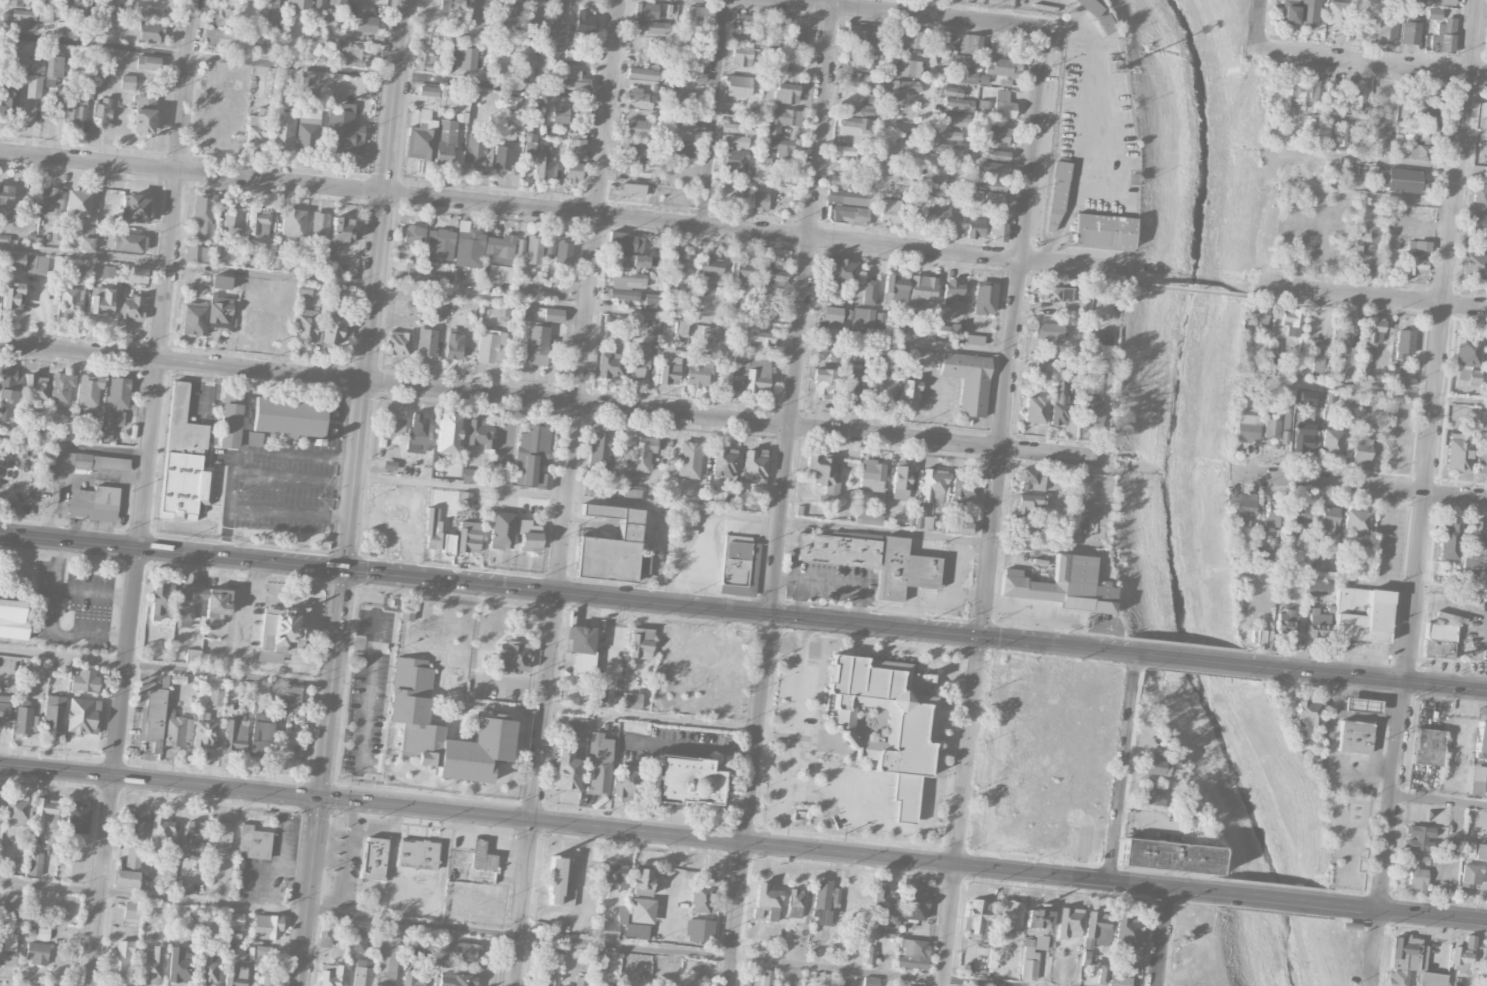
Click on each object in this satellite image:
building: (226, 0)
park: (1233, 0)
building: (15, 2)
building: (337, 2)
building: (1292, 2)
building: (1444, 2)
building: (318, 3)
road: (832, 3)
building: (47, 4)
building: (299, 4)
building: (435, 7)
building: (1089, 7)
building: (646, 10)
building: (505, 11)
building: (533, 11)
building: (153, 13)
building: (268, 13)
building: (329, 13)
building: (1309, 13)
road: (907, 14)
building: (1336, 14)
building: (1433, 14)
building: (222, 15)
building: (698, 15)
building: (1290, 15)
building: (45, 16)
building: (474, 16)
building: (83, 18)
building: (23, 19)
building: (740, 20)
building: (366, 25)
road: (1261, 26)
building: (651, 27)
building: (1390, 28)
building: (555, 29)
building: (582, 30)
building: (151, 32)
building: (427, 33)
building: (785, 33)
building: (1409, 33)
building: (861, 34)
building: (1442, 37)
road: (1471, 37)
building: (740, 38)
building: (910, 38)
building: (284, 39)
building: (229, 40)
building: (657, 43)
building: (970, 44)
building: (1004, 47)
building: (18, 52)
building: (354, 54)
building: (571, 55)
building: (451, 56)
building: (743, 56)
building: (468, 58)
building: (962, 60)
building: (148, 62)
building: (425, 62)
building: (695, 63)
road: (1372, 63)
building: (858, 65)
building: (37, 66)
road: (304, 66)
building: (527, 66)
building: (53, 67)
building: (1002, 67)
building: (909, 68)
building: (644, 73)
building: (966, 76)
building: (691, 77)
building: (577, 79)
building: (270, 81)
building: (858, 81)
building: (127, 82)
building: (33, 86)
building: (737, 86)
building: (906, 86)
building: (952, 92)
building: (786, 93)
building: (1302, 94)
building: (1423, 95)
building: (683, 98)
building: (639, 99)
building: (7, 101)
building: (455, 103)
building: (508, 104)
building: (958, 104)
building: (984, 105)
building: (1003, 105)
building: (856, 110)
building: (76, 111)
building: (561, 112)
building: (102, 113)
road: (714, 113)
building: (1425, 113)
building: (144, 114)
building: (1483, 116)
building: (955, 118)
building: (780, 119)
building: (857, 126)
building: (257, 127)
building: (423, 128)
building: (637, 128)
building: (735, 128)
building: (282, 129)
building: (531, 129)
building: (1308, 130)
road: (1142, 131)
building: (1324, 131)
building: (1415, 131)
building: (343, 133)
road: (1095, 133)
road: (927, 134)
building: (948, 134)
building: (1341, 134)
building: (995, 136)
building: (891, 140)
building: (734, 141)
building: (447, 144)
road: (1033, 145)
building: (678, 147)
building: (780, 147)
building: (948, 149)
building: (844, 150)
building: (477, 151)
building: (1422, 152)
building: (995, 154)
building: (502, 157)
building: (574, 157)
building: (636, 158)
building: (733, 160)
building: (765, 160)
road: (1403, 163)
building: (544, 164)
building: (939, 174)
building: (838, 180)
building: (1403, 180)
building: (996, 185)
building: (941, 191)
building: (1480, 194)
building: (847, 196)
building: (1055, 196)
building: (6, 201)
building: (50, 201)
building: (759, 201)
building: (78, 202)
road: (1408, 203)
building: (134, 208)
building: (889, 211)
road: (562, 212)
building: (845, 212)
building: (204, 214)
building: (936, 214)
building: (232, 220)
building: (292, 223)
building: (258, 224)
building: (1478, 224)
building: (319, 228)
building: (975, 228)
building: (1102, 230)
building: (999, 231)
building: (1374, 232)
building: (414, 234)
building: (340, 236)
building: (622, 241)
building: (129, 242)
building: (86, 243)
building: (441, 243)
building: (469, 248)
building: (549, 249)
building: (534, 250)
building: (564, 253)
building: (196, 254)
building: (1362, 255)
building: (498, 256)
building: (1415, 256)
building: (677, 258)
building: (277, 260)
building: (635, 261)
building: (28, 262)
building: (1475, 265)
building: (710, 267)
building: (107, 271)
building: (741, 273)
building: (839, 273)
building: (139, 274)
road: (168, 274)
building: (770, 274)
building: (423, 276)
road: (1129, 277)
building: (627, 280)
building: (221, 282)
road: (376, 284)
building: (896, 288)
road: (1189, 289)
building: (921, 290)
building: (953, 290)
road: (1251, 291)
building: (869, 292)
building: (12, 294)
building: (622, 294)
building: (1056, 294)
road: (1350, 295)
road: (589, 296)
building: (71, 299)
road: (506, 299)
building: (101, 301)
building: (652, 301)
road: (1465, 306)
building: (131, 309)
building: (439, 310)
building: (498, 310)
building: (220, 311)
road: (802, 311)
building: (1256, 314)
building: (553, 315)
building: (850, 317)
building: (194, 318)
building: (1292, 319)
building: (880, 322)
building: (652, 326)
building: (681, 327)
building: (306, 328)
building: (1374, 329)
building: (332, 330)
building: (1051, 332)
building: (712, 333)
building: (760, 340)
building: (1275, 341)
building: (426, 342)
building: (1404, 343)
building: (397, 344)
building: (454, 345)
building: (536, 345)
building: (490, 346)
building: (1097, 347)
building: (1486, 347)
building: (1341, 350)
building: (886, 351)
building: (860, 353)
building: (834, 354)
building: (638, 360)
building: (1468, 360)
building: (1317, 364)
building: (609, 365)
building: (668, 366)
building: (909, 369)
building: (698, 370)
building: (1044, 371)
building: (749, 372)
building: (1072, 373)
road: (1435, 378)
building: (823, 381)
building: (968, 381)
building: (850, 382)
building: (10, 385)
building: (1091, 385)
building: (36, 386)
building: (61, 387)
building: (883, 388)
building: (908, 393)
building: (88, 394)
road: (1394, 395)
building: (1305, 397)
road: (553, 401)
building: (115, 404)
building: (1059, 404)
building: (1036, 410)
building: (1091, 413)
building: (289, 417)
building: (235, 426)
building: (391, 426)
building: (1248, 428)
building: (92, 432)
building: (417, 433)
building: (447, 433)
building: (479, 433)
building: (1273, 433)
building: (1302, 437)
building: (1332, 441)
road: (74, 445)
road: (1003, 448)
building: (1360, 448)
building: (599, 450)
building: (1458, 451)
building: (641, 452)
building: (1481, 456)
building: (532, 457)
building: (689, 459)
building: (87, 461)
building: (184, 461)
building: (724, 461)
building: (754, 465)
building: (823, 471)
building: (468, 475)
building: (872, 476)
road: (232, 477)
road: (294, 477)
building: (1032, 479)
building: (901, 482)
building: (933, 485)
building: (963, 485)
road: (1363, 487)
building: (631, 494)
building: (465, 498)
building: (1029, 503)
building: (94, 504)
building: (1245, 508)
building: (1273, 513)
road: (730, 515)
building: (868, 518)
building: (1298, 518)
building: (1328, 521)
building: (1356, 521)
building: (925, 523)
building: (1028, 526)
building: (957, 527)
building: (501, 530)
building: (433, 532)
building: (469, 536)
building: (528, 536)
building: (1448, 540)
building: (607, 542)
building: (448, 543)
building: (838, 549)
road: (1387, 549)
building: (1475, 551)
road: (172, 552)
building: (1257, 556)
building: (648, 562)
building: (1316, 562)
building: (740, 564)
traffic signals: (345, 569)
building: (904, 570)
road: (385, 573)
road: (847, 585)
building: (1063, 585)
road: (800, 586)
building: (1316, 589)
road: (1451, 589)
road: (94, 592)
building: (162, 601)
building: (217, 602)
building: (189, 604)
road: (704, 607)
building: (1486, 608)
building: (406, 613)
building: (1361, 614)
building: (12, 619)
road: (52, 622)
building: (1286, 623)
building: (1317, 624)
building: (278, 634)
road: (1143, 635)
building: (1439, 639)
road: (1022, 640)
road: (355, 642)
building: (640, 643)
road: (1096, 649)
building: (579, 650)
building: (192, 656)
building: (512, 656)
road: (1195, 659)
road: (165, 668)
building: (84, 679)
building: (178, 679)
road: (1372, 679)
road: (367, 691)
road: (1373, 694)
building: (215, 697)
building: (288, 699)
building: (631, 700)
road: (543, 705)
road: (794, 706)
building: (4, 708)
road: (385, 708)
road: (975, 711)
building: (54, 713)
building: (152, 714)
building: (82, 716)
road: (650, 716)
building: (408, 718)
building: (1304, 719)
building: (23, 721)
building: (884, 722)
building: (576, 727)
road: (758, 729)
building: (175, 730)
building: (204, 730)
building: (261, 734)
building: (1481, 734)
road: (344, 735)
building: (235, 736)
building: (1354, 737)
road: (1379, 737)
road: (691, 744)
building: (1427, 746)
road: (1329, 753)
building: (598, 764)
road: (115, 767)
road: (1121, 767)
building: (1153, 767)
building: (565, 770)
road: (321, 777)
building: (686, 780)
building: (1476, 780)
building: (625, 781)
building: (1152, 795)
road: (1391, 795)
traffic signals: (319, 799)
road: (1439, 801)
building: (16, 810)
building: (44, 812)
building: (78, 817)
road: (878, 825)
building: (134, 826)
building: (161, 828)
road: (607, 828)
building: (220, 837)
building: (1418, 838)
building: (195, 839)
building: (253, 842)
building: (1481, 851)
building: (418, 854)
building: (1170, 856)
building: (482, 857)
building: (373, 858)
building: (35, 864)
building: (129, 869)
building: (1471, 875)
building: (614, 876)
building: (1417, 877)
building: (561, 882)
building: (642, 882)
road: (954, 887)
building: (825, 895)
building: (703, 896)
road: (1274, 898)
building: (766, 901)
road: (521, 903)
building: (794, 903)
building: (915, 905)
building: (13, 907)
building: (131, 910)
building: (642, 910)
road: (1410, 911)
building: (884, 913)
road: (735, 914)
building: (621, 915)
building: (1007, 918)
building: (236, 921)
building: (1038, 921)
building: (1069, 923)
building: (267, 926)
building: (1096, 929)
building: (605, 930)
building: (699, 930)
building: (1125, 932)
building: (43, 933)
road: (511, 933)
building: (327, 934)
road: (1161, 936)
building: (356, 940)
road: (1372, 947)
building: (8, 950)
building: (461, 951)
building: (37, 953)
building: (913, 953)
building: (262, 955)
building: (1032, 956)
building: (1462, 956)
building: (1403, 958)
building: (118, 960)
building: (386, 961)
building: (178, 965)
building: (208, 967)
building: (1483, 968)
building: (362, 972)
building: (1102, 974)
building: (235, 975)
building: (331, 975)
building: (266, 977)
building: (766, 977)
building: (411, 979)
building: (456, 979)
building: (1432, 979)
building: (546, 980)
building: (842, 980)
building: (870, 981)
building: (1119, 981)
building: (566, 985)

